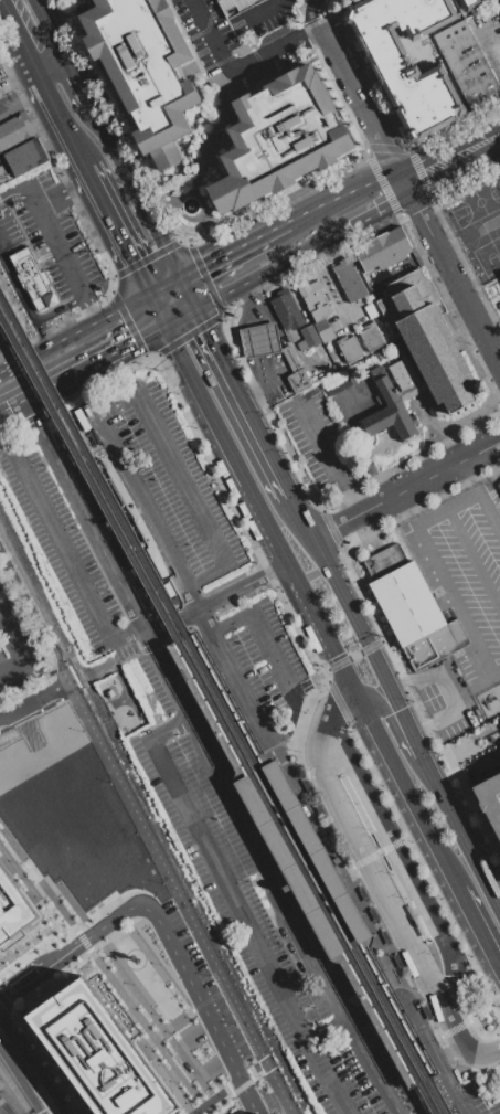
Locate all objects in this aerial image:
building: (486, 0)
building: (497, 3)
building: (468, 4)
building: (234, 6)
parking garage: (234, 6)
road: (262, 12)
road: (309, 17)
road: (12, 39)
building: (404, 62)
building: (467, 63)
road: (240, 64)
building: (0, 67)
building: (158, 71)
road: (30, 72)
road: (63, 86)
road: (21, 106)
road: (57, 125)
building: (14, 130)
road: (380, 132)
road: (105, 138)
building: (277, 138)
building: (21, 160)
road: (455, 166)
road: (397, 168)
road: (18, 198)
road: (376, 212)
road: (294, 220)
road: (278, 227)
road: (114, 231)
road: (470, 236)
road: (52, 237)
road: (326, 238)
parking lot: (51, 244)
building: (383, 250)
road: (224, 254)
traffic signals: (129, 261)
traffic signals: (202, 266)
building: (30, 275)
road: (253, 277)
building: (350, 282)
road: (163, 286)
road: (187, 293)
building: (313, 298)
road: (466, 301)
road: (153, 310)
building: (286, 310)
building: (372, 311)
road: (29, 312)
road: (177, 317)
traffic signals: (204, 328)
building: (323, 331)
road: (39, 332)
road: (73, 332)
building: (371, 337)
building: (307, 338)
building: (257, 339)
gas station: (257, 339)
traffic signals: (130, 342)
road: (121, 346)
road: (259, 346)
road: (171, 348)
building: (349, 348)
road: (140, 349)
road: (158, 351)
building: (417, 356)
building: (290, 358)
building: (337, 363)
road: (141, 376)
building: (316, 376)
building: (297, 380)
building: (337, 382)
road: (42, 388)
building: (352, 399)
road: (242, 401)
parking lot: (321, 438)
road: (330, 458)
road: (449, 468)
road: (474, 477)
road: (181, 478)
parking lot: (159, 480)
building: (498, 487)
road: (491, 509)
road: (409, 511)
road: (451, 511)
road: (255, 512)
road: (357, 517)
parking lot: (66, 533)
road: (61, 545)
road: (355, 545)
road: (475, 558)
parking lot: (462, 572)
road: (181, 580)
road: (338, 588)
road: (213, 601)
road: (457, 607)
building: (411, 608)
road: (201, 618)
road: (175, 633)
parking lot: (14, 646)
road: (151, 646)
road: (12, 650)
traffic signals: (329, 654)
road: (354, 654)
road: (274, 660)
road: (113, 665)
parking lot: (258, 669)
road: (327, 675)
road: (342, 676)
road: (75, 681)
road: (469, 689)
road: (443, 692)
road: (216, 697)
road: (391, 697)
road: (376, 700)
road: (34, 701)
railway: (222, 702)
road: (338, 703)
road: (340, 704)
traffic signals: (397, 709)
railway: (216, 712)
road: (407, 733)
road: (285, 745)
road: (474, 747)
road: (440, 751)
road: (210, 756)
road: (280, 760)
road: (247, 765)
road: (319, 768)
road: (358, 770)
road: (408, 796)
building: (492, 800)
railway: (152, 815)
road: (145, 831)
road: (459, 836)
road: (354, 841)
road: (375, 852)
railway: (311, 853)
building: (300, 858)
railway: (294, 864)
road: (424, 871)
road: (414, 877)
road: (375, 881)
road: (358, 896)
road: (72, 903)
road: (235, 906)
building: (12, 908)
road: (328, 910)
parking lot: (266, 914)
road: (327, 915)
building: (413, 915)
road: (162, 931)
road: (480, 934)
road: (412, 953)
road: (111, 955)
road: (97, 962)
road: (450, 968)
road: (123, 986)
road: (496, 1001)
road: (446, 1012)
road: (148, 1022)
road: (419, 1023)
road: (454, 1028)
road: (183, 1029)
road: (411, 1030)
road: (456, 1032)
road: (164, 1033)
road: (482, 1035)
road: (192, 1036)
road: (392, 1036)
road: (149, 1040)
road: (498, 1048)
building: (98, 1053)
road: (479, 1054)
road: (33, 1064)
road: (174, 1067)
road: (211, 1067)
road: (252, 1071)
road: (19, 1085)
road: (214, 1096)
railway: (4, 1108)
building: (492, 1108)

